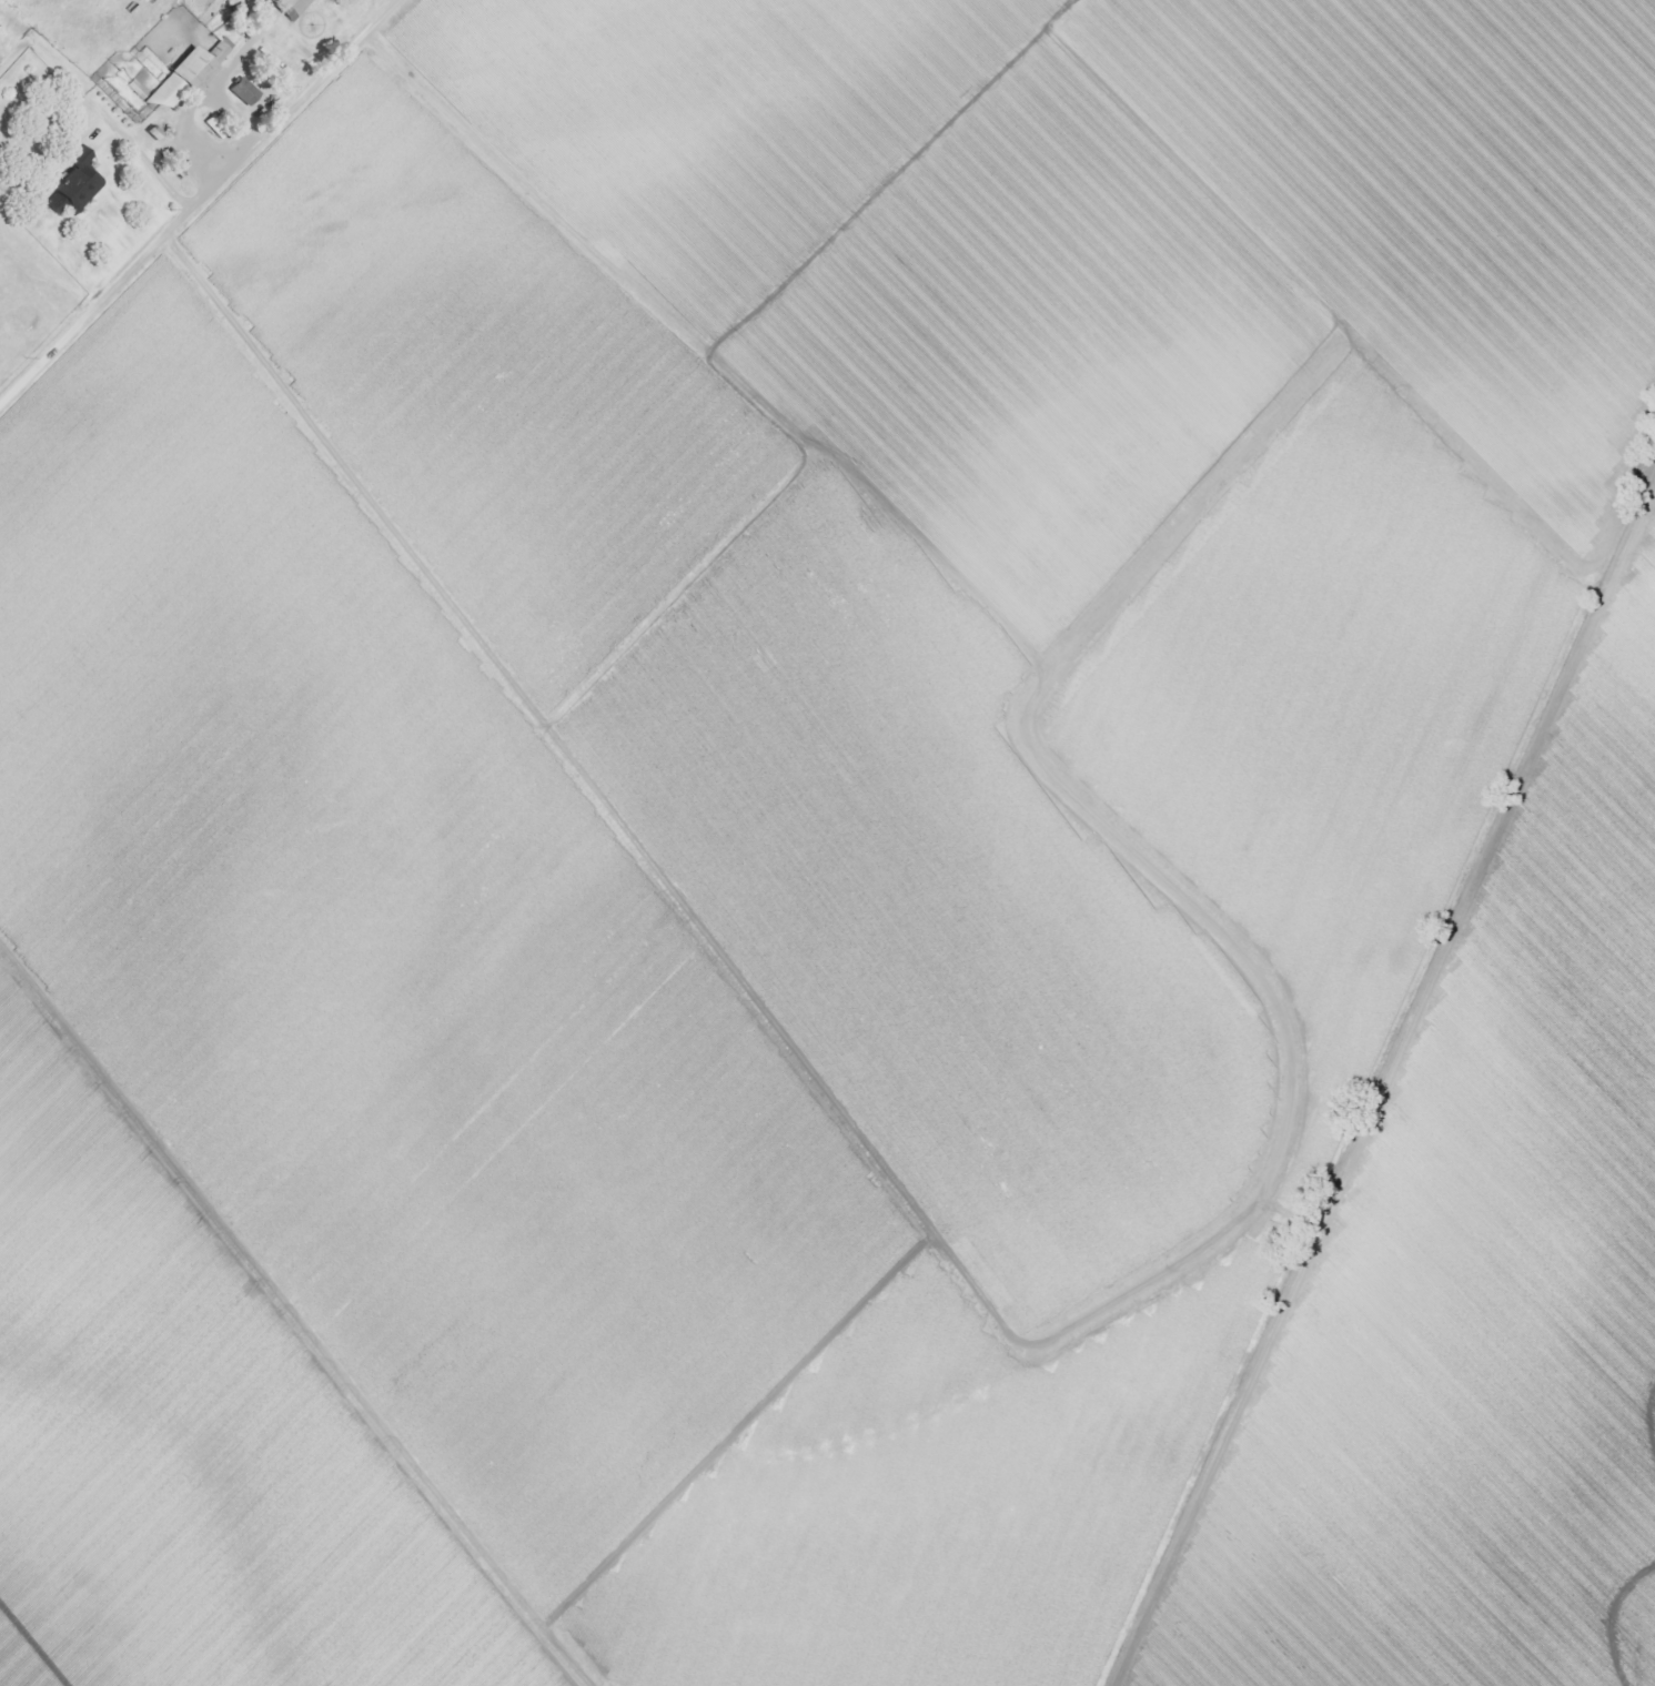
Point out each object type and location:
building: (292, 8)
building: (190, 74)
building: (244, 92)
building: (77, 185)
road: (199, 201)
road: (297, 1319)

